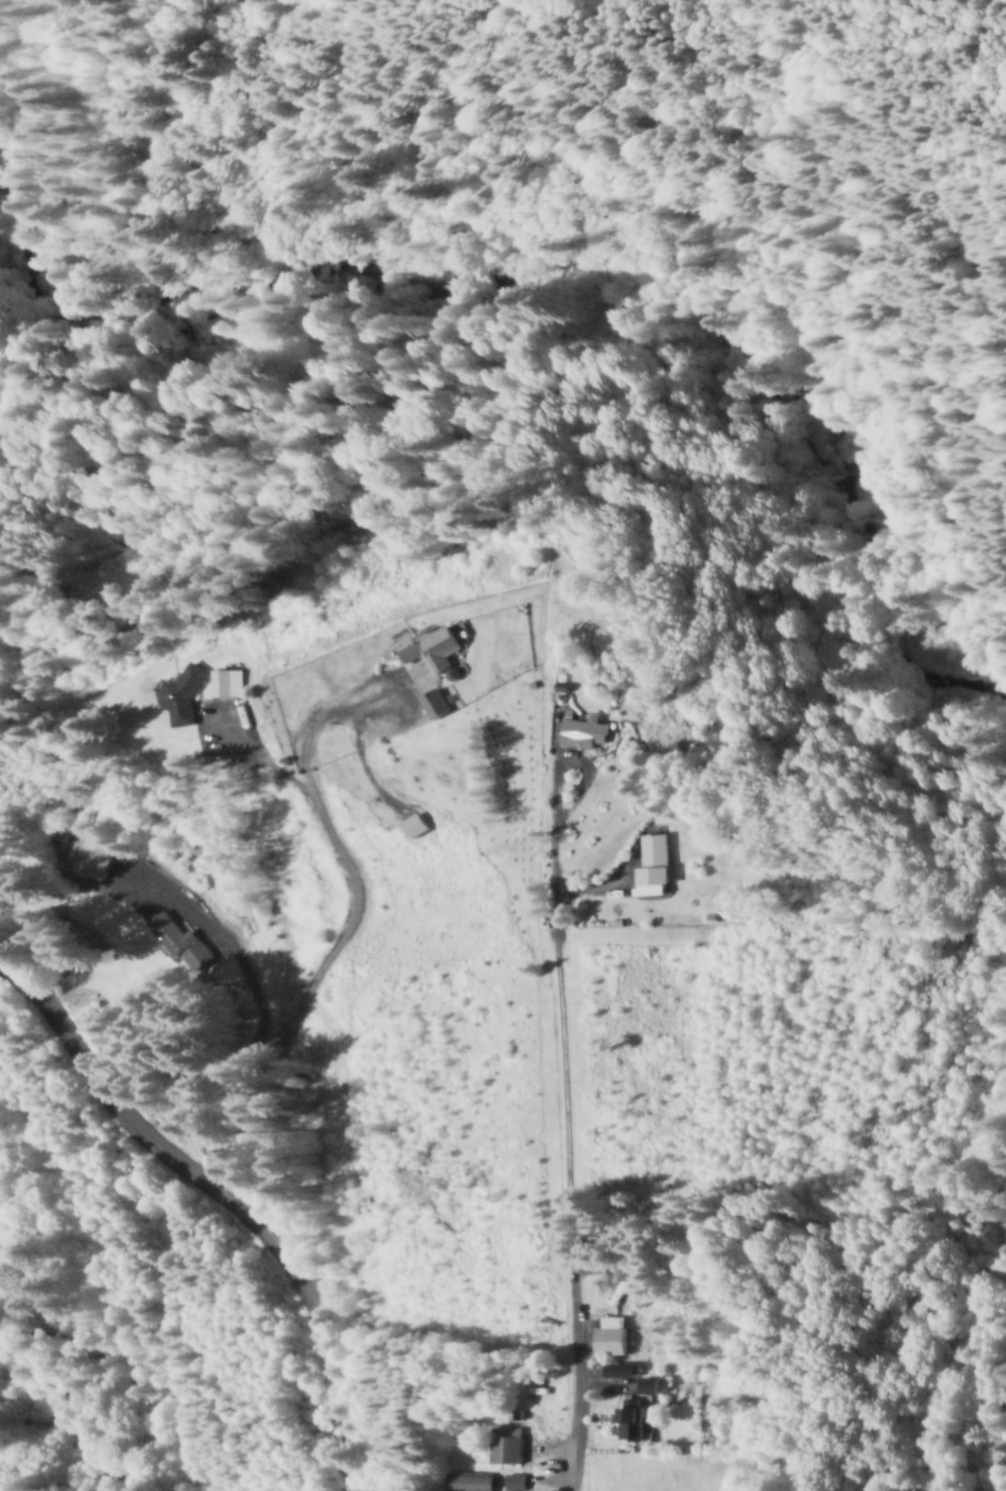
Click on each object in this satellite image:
building: (404, 653)
building: (159, 702)
building: (413, 707)
building: (554, 737)
road: (250, 754)
building: (89, 860)
building: (637, 864)
road: (308, 988)
road: (571, 1128)
road: (219, 1201)
building: (603, 1339)
building: (623, 1424)
building: (507, 1447)
building: (472, 1482)
building: (517, 1483)

